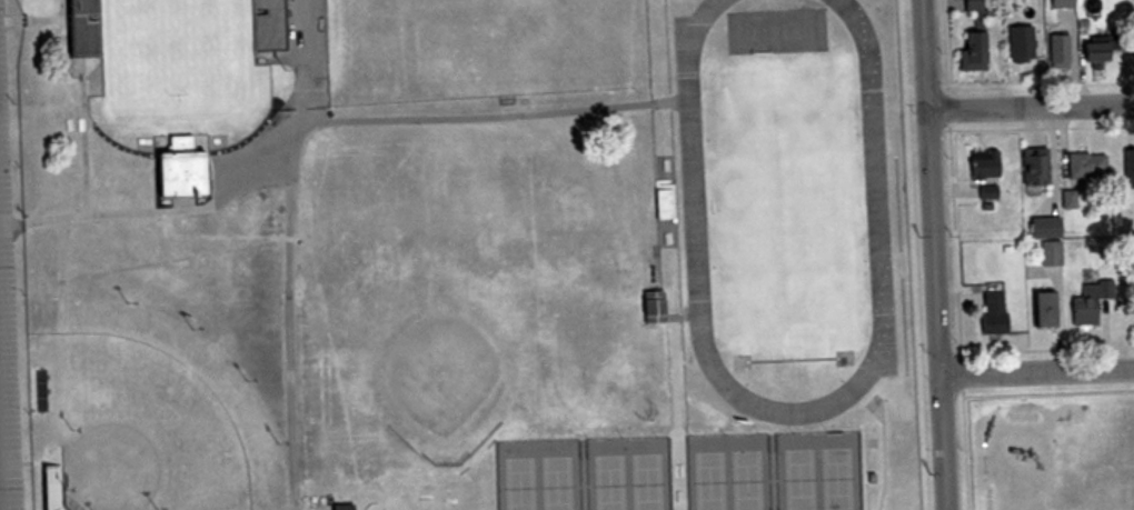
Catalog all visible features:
building: (1062, 3)
building: (976, 8)
building: (263, 24)
building: (1018, 44)
park: (480, 49)
building: (1094, 51)
building: (1055, 52)
building: (969, 53)
building: (1132, 53)
road: (1032, 107)
road: (318, 120)
building: (1084, 167)
building: (1033, 168)
building: (981, 169)
building: (1127, 170)
building: (179, 174)
track: (694, 198)
building: (1044, 228)
building: (1133, 251)
road: (288, 253)
road: (936, 254)
park: (448, 284)
building: (1088, 302)
building: (650, 308)
building: (1042, 310)
building: (993, 314)
road: (1037, 372)
park: (158, 414)
park: (727, 472)
building: (341, 507)

